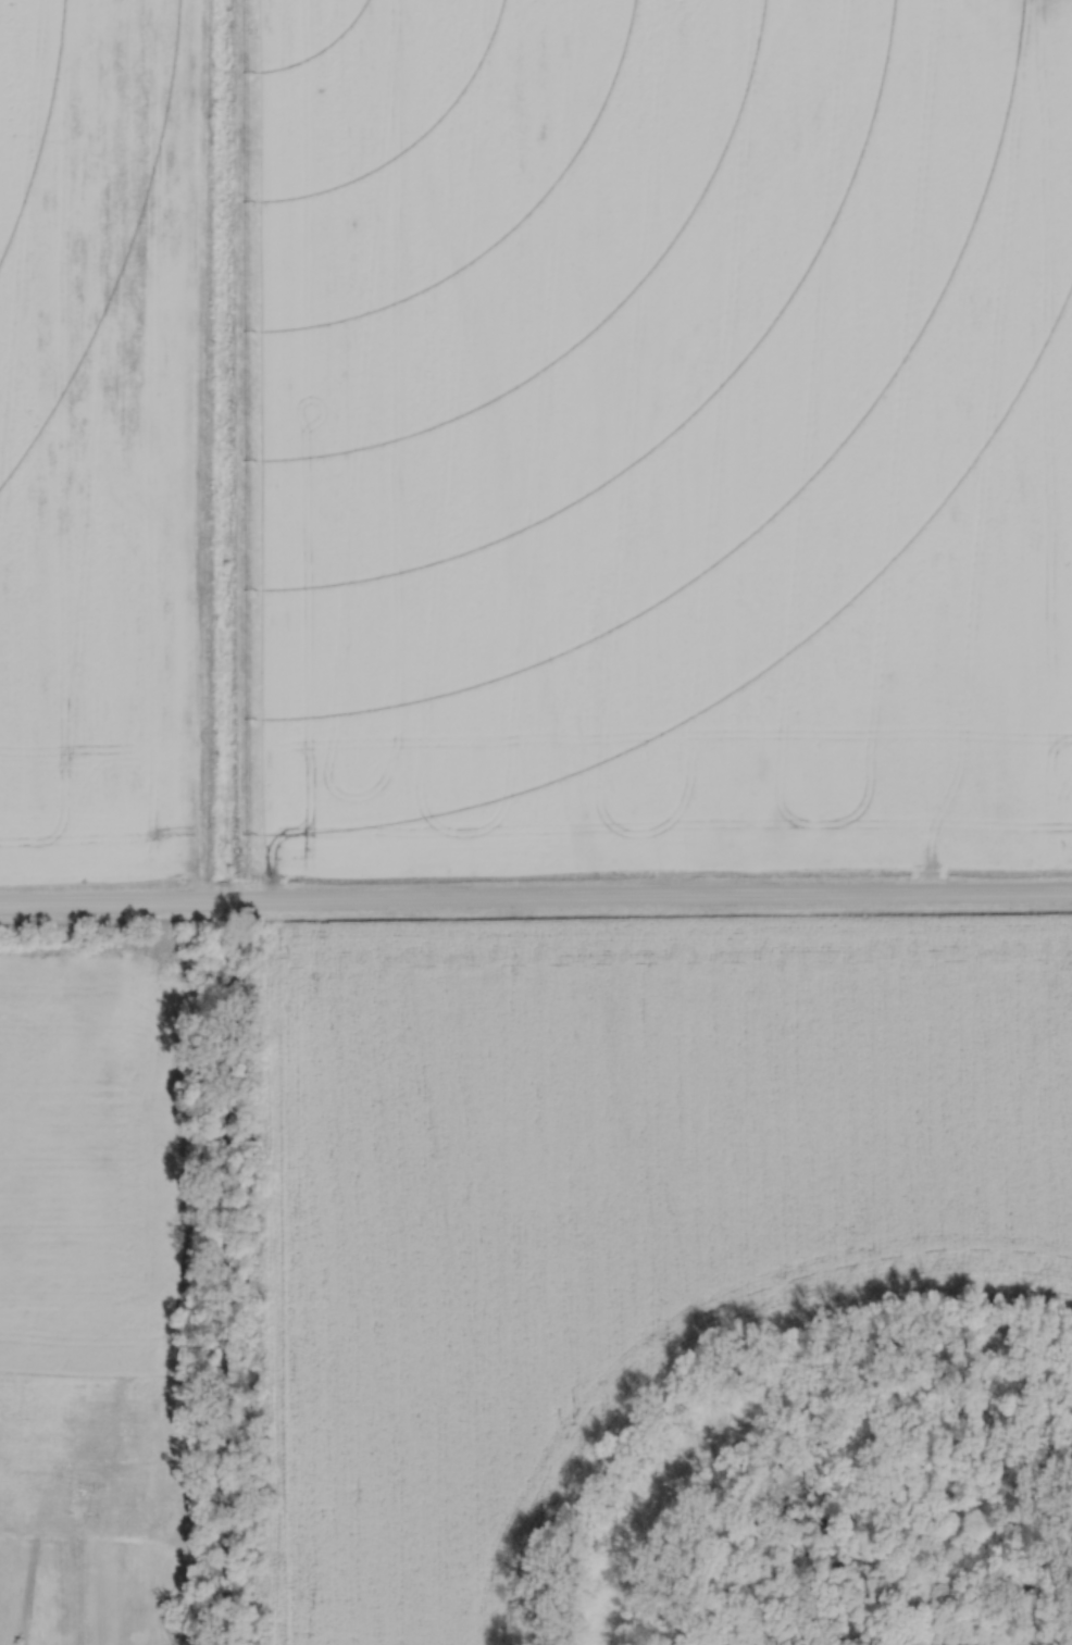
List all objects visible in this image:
crop: (98, 436)
crop: (664, 436)
road: (536, 894)
crop: (94, 1146)
crop: (608, 1205)

